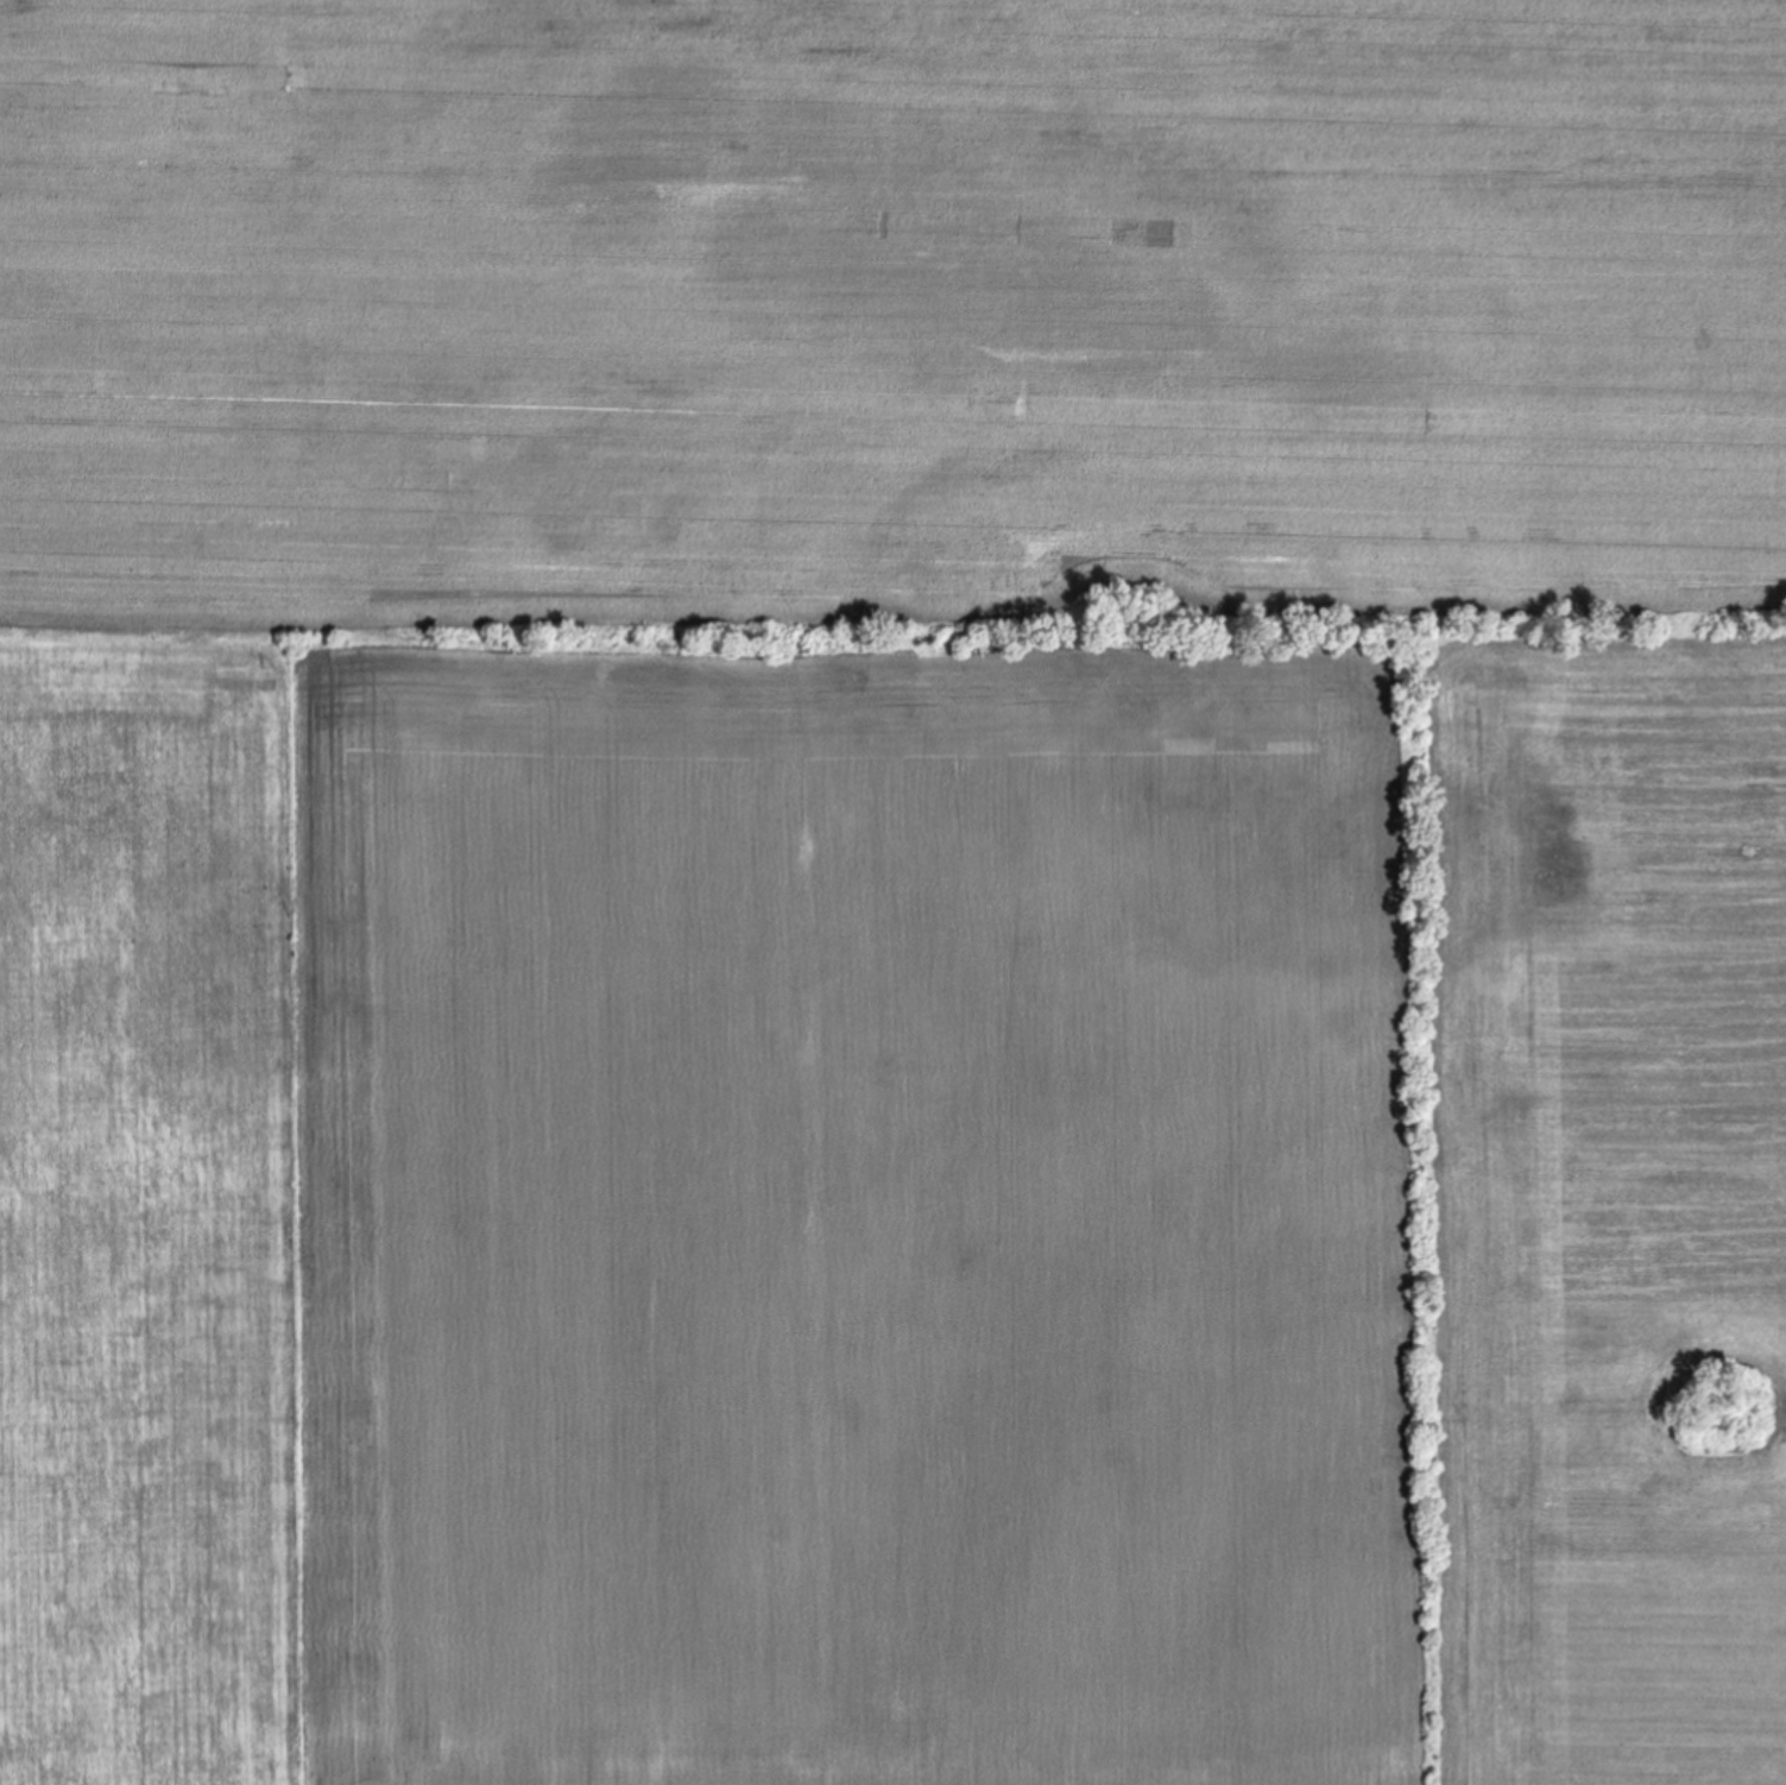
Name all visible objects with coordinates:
crop: (990, 851)

